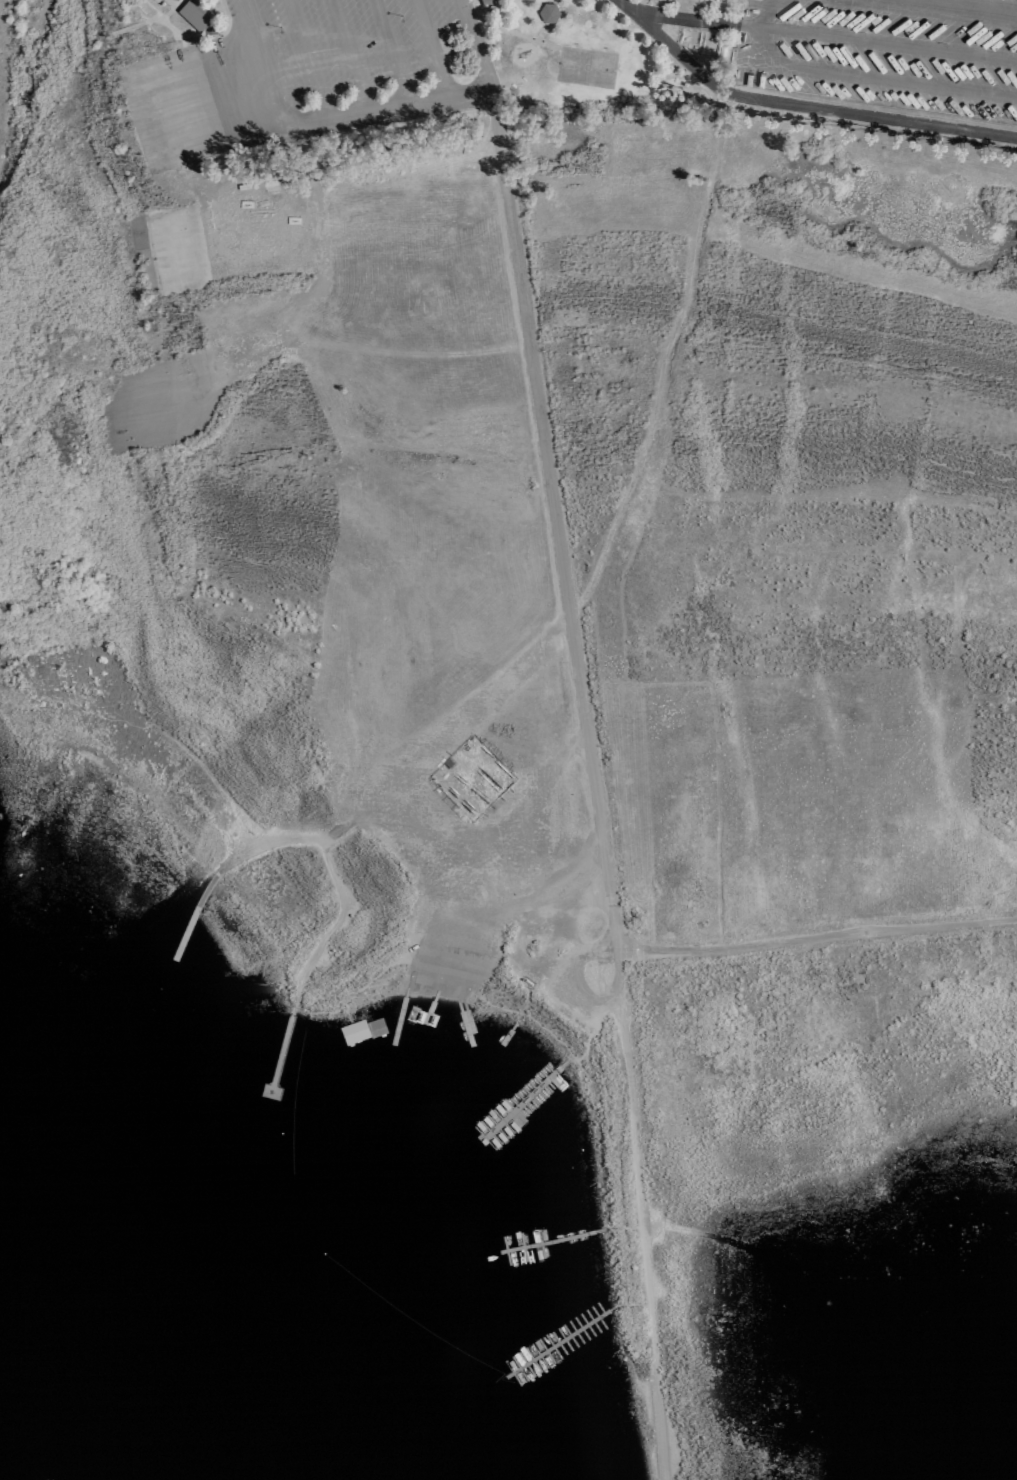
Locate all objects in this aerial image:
building: (487, 3)
road: (479, 5)
road: (633, 8)
building: (195, 12)
building: (547, 13)
road: (163, 16)
road: (225, 21)
road: (693, 23)
road: (507, 30)
road: (541, 32)
road: (429, 52)
parking lot: (885, 52)
road: (391, 55)
road: (347, 58)
road: (303, 61)
parking lot: (358, 61)
park: (585, 68)
road: (233, 94)
road: (816, 108)
road: (170, 115)
road: (366, 116)
road: (261, 227)
road: (166, 254)
road: (319, 261)
road: (347, 349)
road: (667, 354)
road: (147, 408)
park: (549, 590)
road: (592, 787)
road: (388, 792)
parking lot: (507, 832)
road: (525, 904)
road: (817, 937)
pier: (153, 944)
road: (424, 975)
road: (460, 978)
pier: (398, 1017)
pier: (429, 1020)
pier: (511, 1030)
road: (587, 1039)
pier: (274, 1066)
pier: (490, 1110)
pier: (528, 1254)
road: (617, 1304)
pier: (532, 1322)

